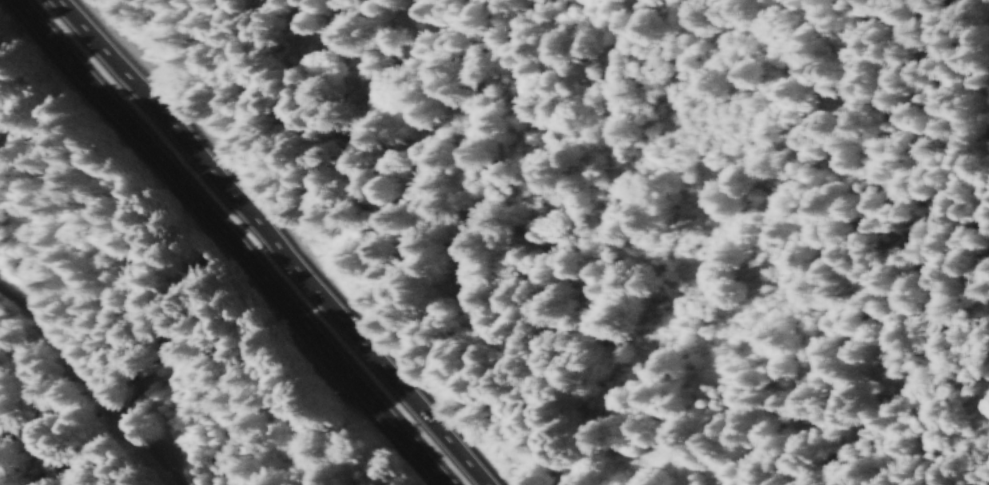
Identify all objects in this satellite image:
road: (220, 242)
road: (265, 242)
road: (78, 394)

